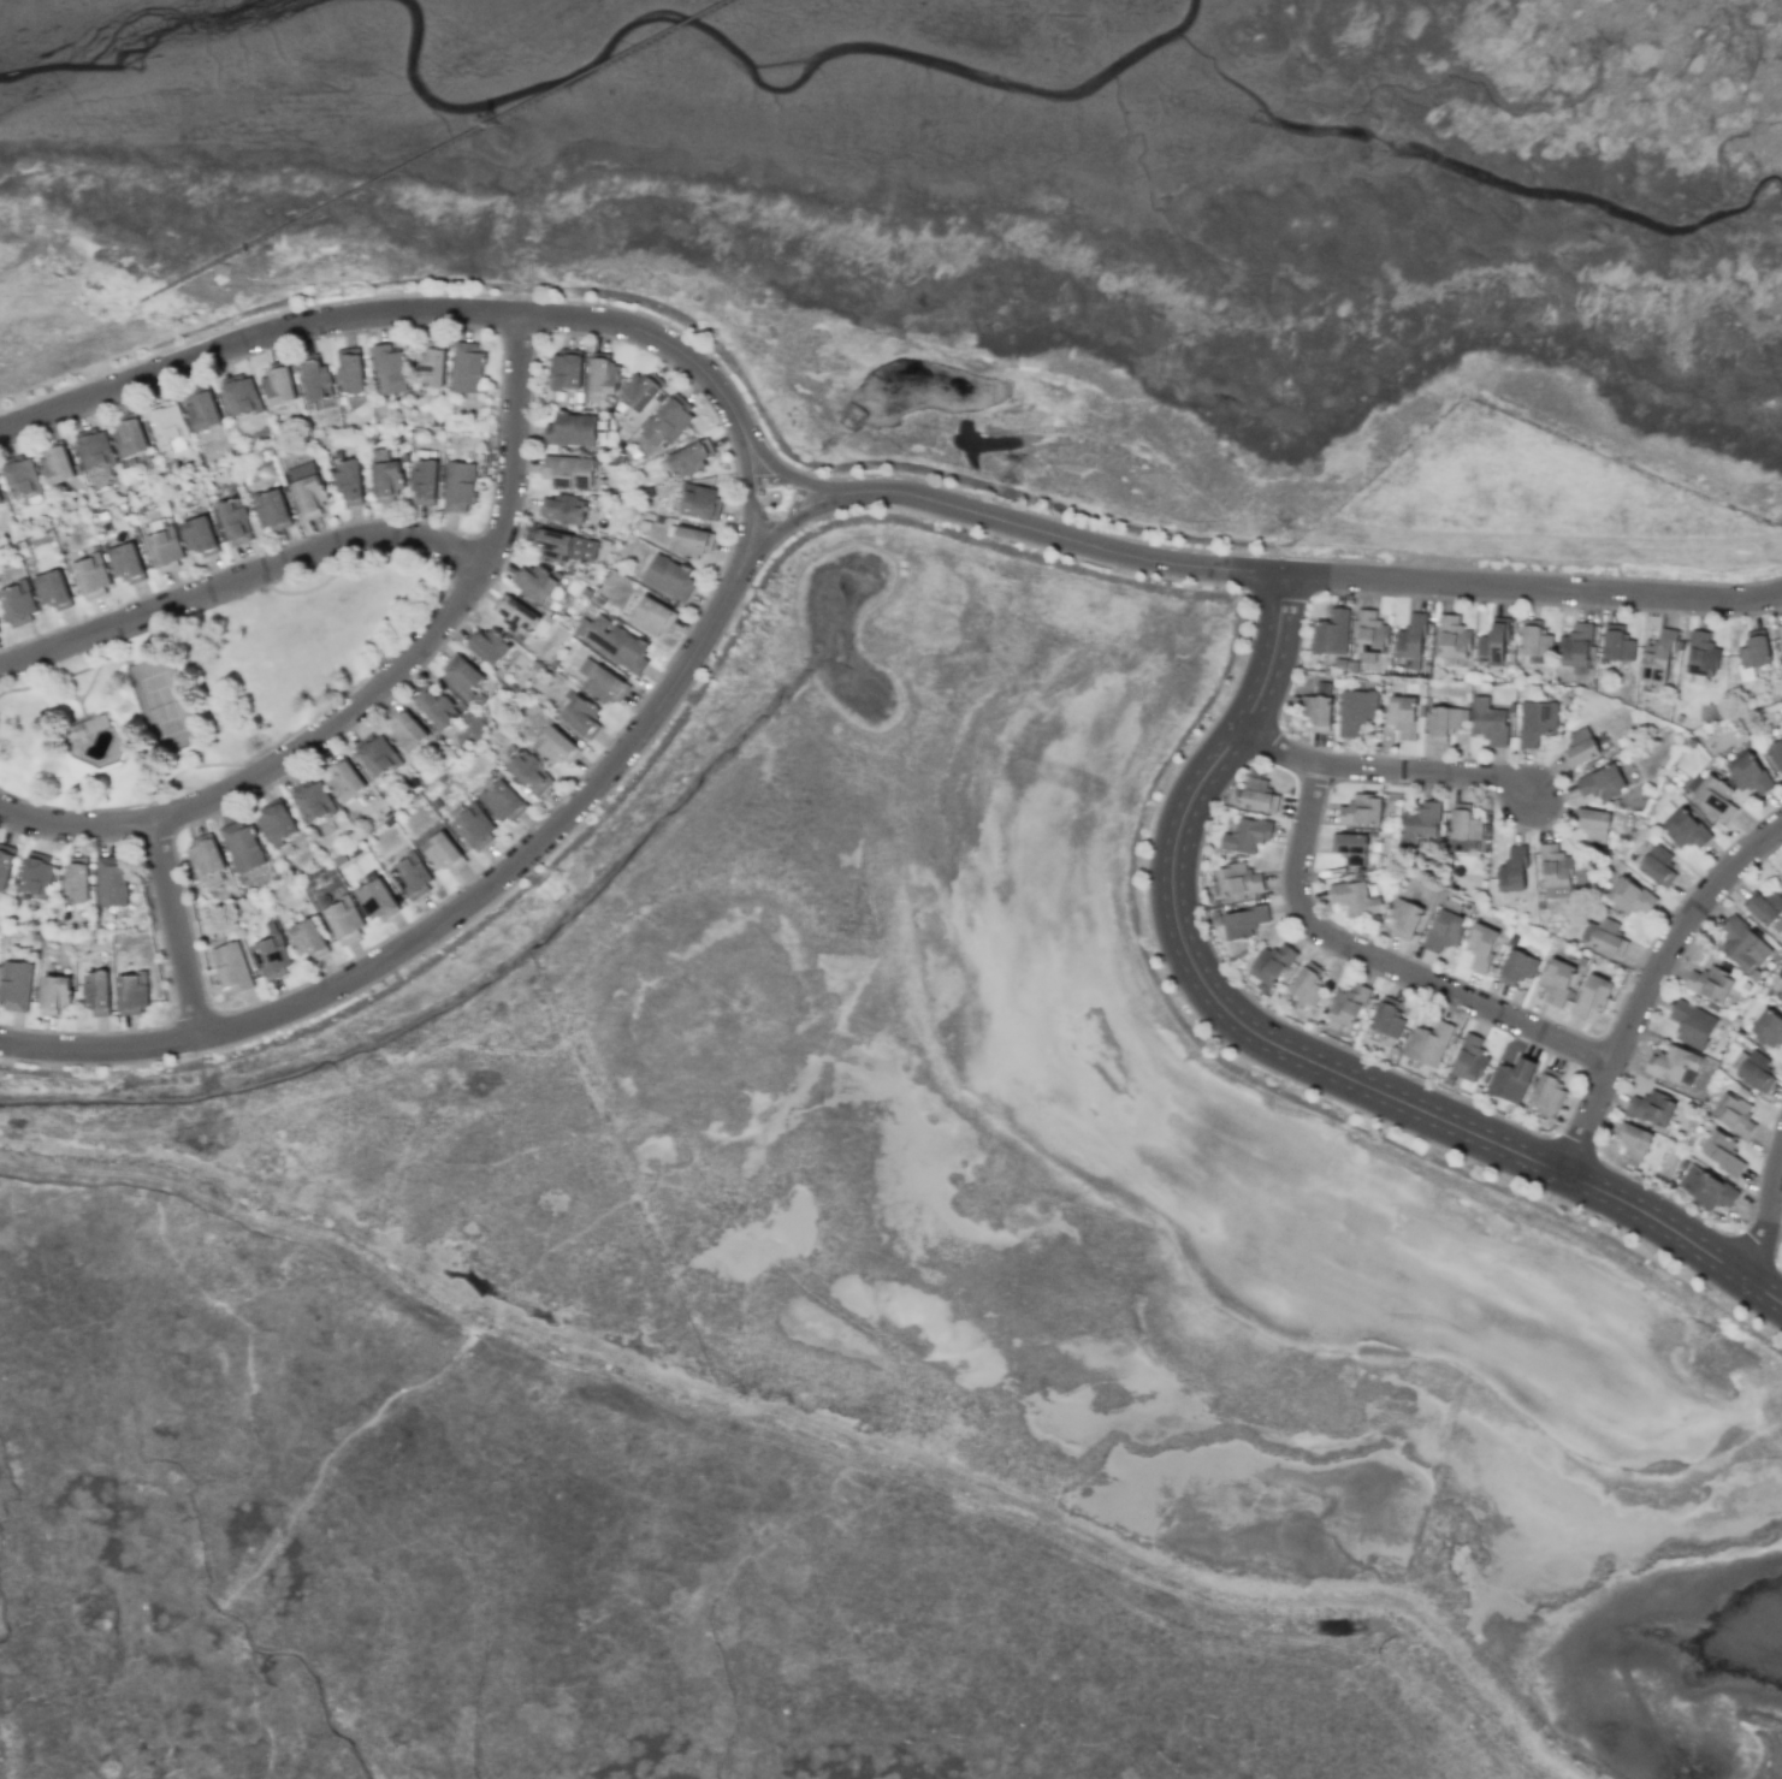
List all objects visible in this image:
power tower: (489, 121)
road: (373, 314)
building: (467, 367)
building: (432, 368)
building: (389, 370)
building: (349, 372)
building: (566, 372)
building: (603, 376)
building: (315, 379)
building: (279, 386)
building: (640, 392)
building: (242, 397)
building: (202, 413)
building: (667, 422)
building: (168, 423)
building: (570, 429)
building: (243, 431)
building: (129, 437)
road: (511, 437)
building: (94, 450)
building: (689, 459)
building: (58, 463)
building: (665, 469)
building: (568, 472)
road: (792, 472)
building: (22, 478)
building: (386, 481)
building: (348, 482)
building: (424, 482)
road: (769, 482)
building: (458, 486)
road: (747, 488)
building: (307, 490)
building: (0, 500)
building: (699, 502)
building: (561, 509)
building: (272, 511)
road: (799, 518)
building: (200, 536)
road: (1076, 538)
building: (691, 542)
building: (165, 550)
building: (126, 563)
building: (91, 576)
building: (669, 577)
road: (241, 581)
building: (534, 582)
road: (1531, 586)
building: (53, 589)
building: (18, 604)
building: (515, 613)
building: (653, 616)
building: (1780, 631)
building: (1331, 633)
building: (1370, 636)
building: (1411, 638)
building: (1454, 638)
building: (1535, 641)
building: (612, 642)
building: (1492, 644)
building: (487, 646)
building: (1576, 646)
building: (1617, 646)
building: (1659, 654)
building: (1701, 654)
building: (1753, 654)
building: (461, 675)
building: (602, 682)
park: (207, 687)
park: (168, 706)
building: (433, 706)
building: (1319, 707)
building: (1355, 711)
building: (581, 716)
building: (1401, 716)
building: (1488, 722)
building: (1537, 722)
building: (1445, 723)
building: (405, 730)
building: (556, 747)
building: (1579, 747)
building: (377, 754)
building: (1776, 754)
road: (276, 760)
road: (1385, 767)
building: (529, 772)
building: (1747, 772)
building: (344, 779)
building: (1602, 783)
building: (1259, 793)
building: (1711, 794)
building: (313, 801)
building: (502, 801)
building: (1361, 811)
building: (276, 823)
building: (1420, 824)
building: (1593, 824)
building: (475, 828)
building: (1685, 829)
building: (1466, 830)
building: (1247, 835)
building: (242, 847)
building: (1350, 848)
building: (442, 853)
building: (205, 859)
building: (5, 865)
building: (1658, 866)
building: (1514, 870)
building: (1556, 872)
building: (36, 876)
building: (413, 878)
building: (112, 880)
building: (1236, 880)
building: (75, 882)
building: (1354, 897)
building: (1629, 897)
building: (377, 901)
building: (1764, 906)
building: (1405, 918)
road: (437, 919)
building: (344, 920)
building: (1243, 921)
road: (177, 925)
building: (1445, 930)
building: (1609, 937)
building: (308, 938)
building: (1742, 944)
building: (1481, 947)
building: (272, 955)
road: (1387, 960)
building: (1272, 965)
building: (231, 967)
building: (1518, 967)
building: (1556, 980)
road: (1651, 983)
building: (1711, 984)
building: (14, 985)
building: (1307, 986)
building: (96, 992)
building: (54, 994)
building: (132, 994)
building: (1593, 995)
building: (1781, 1001)
building: (1781, 1002)
building: (1348, 1006)
building: (1386, 1020)
building: (1692, 1024)
building: (1769, 1028)
building: (1428, 1043)
road: (1291, 1049)
building: (1469, 1058)
building: (1674, 1065)
building: (1753, 1069)
building: (1510, 1080)
building: (1550, 1092)
building: (1652, 1108)
building: (1734, 1115)
building: (1633, 1143)
building: (1722, 1152)
building: (1707, 1187)
road: (1768, 1220)

